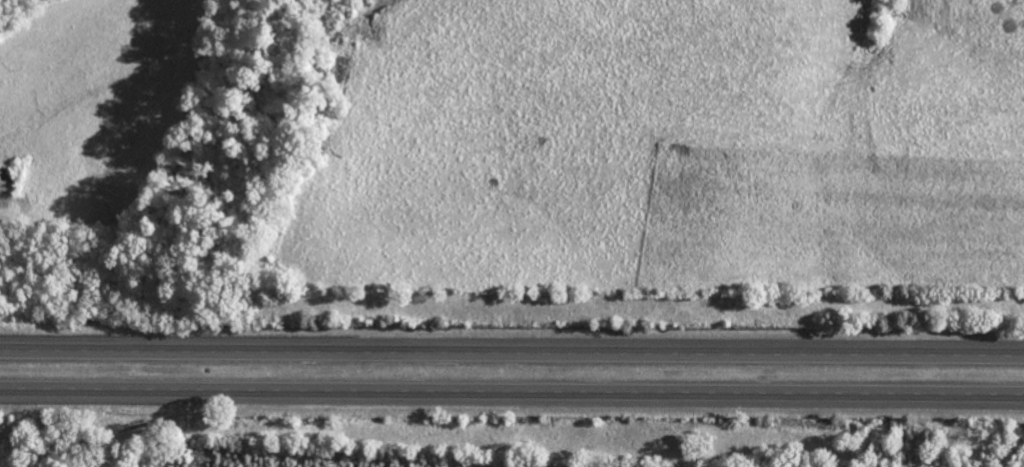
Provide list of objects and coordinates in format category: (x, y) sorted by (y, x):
road: (512, 350)
road: (512, 395)

